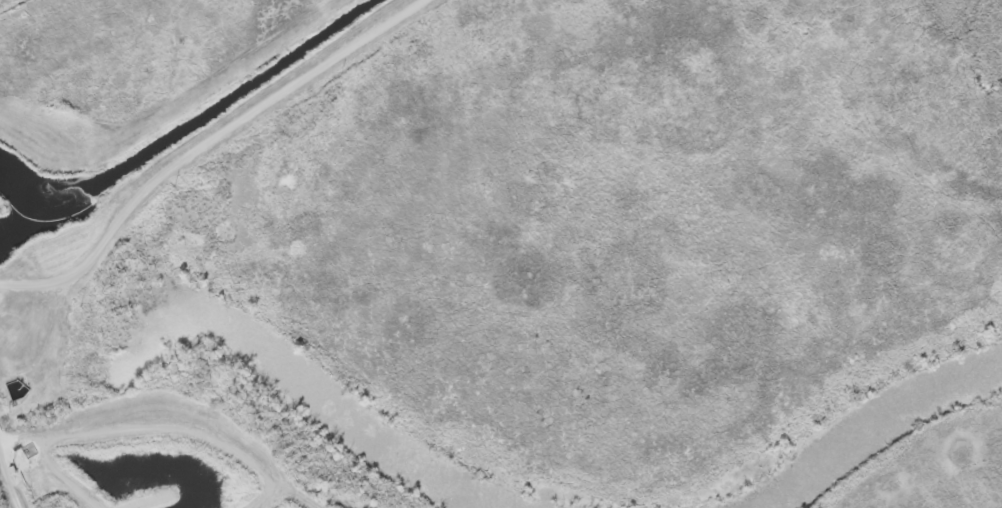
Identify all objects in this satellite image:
road: (200, 146)
road: (171, 428)
road: (9, 479)

